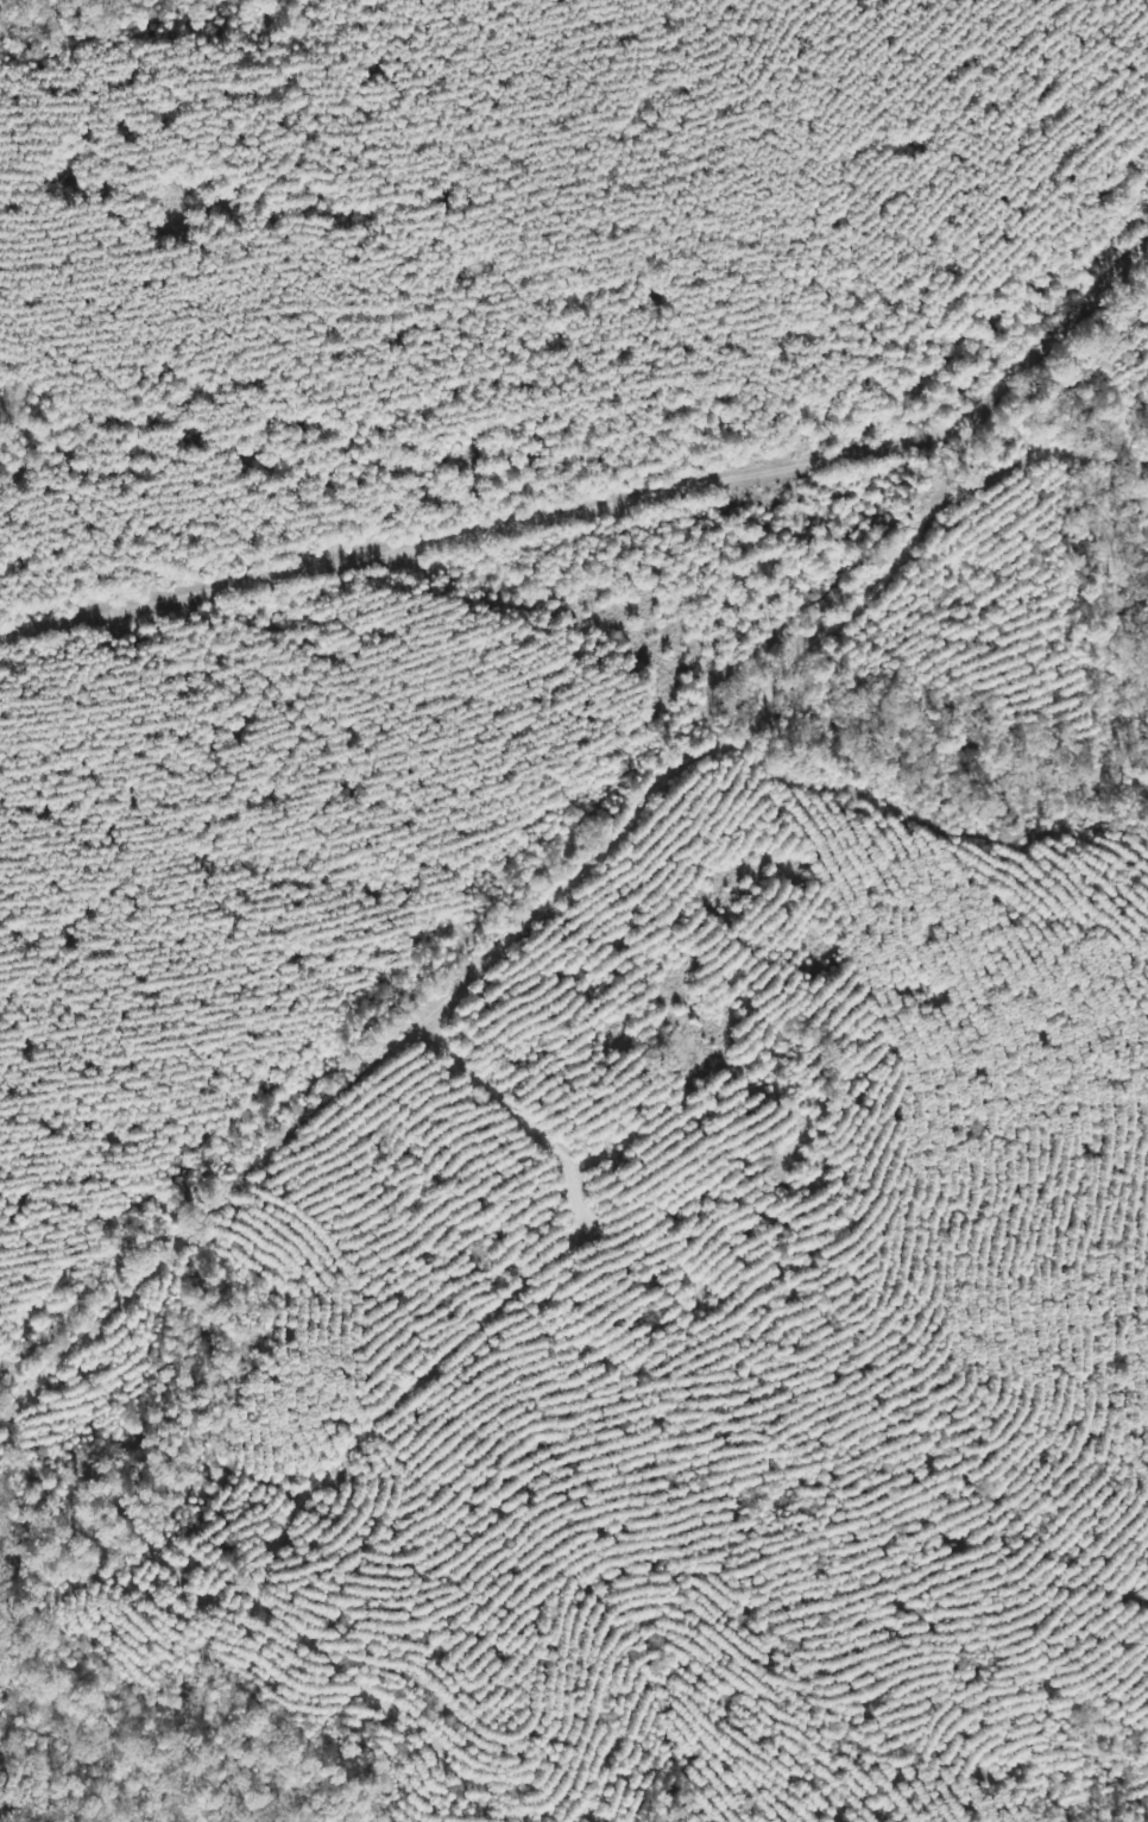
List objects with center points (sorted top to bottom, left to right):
road: (768, 471)
road: (160, 601)
road: (561, 890)

